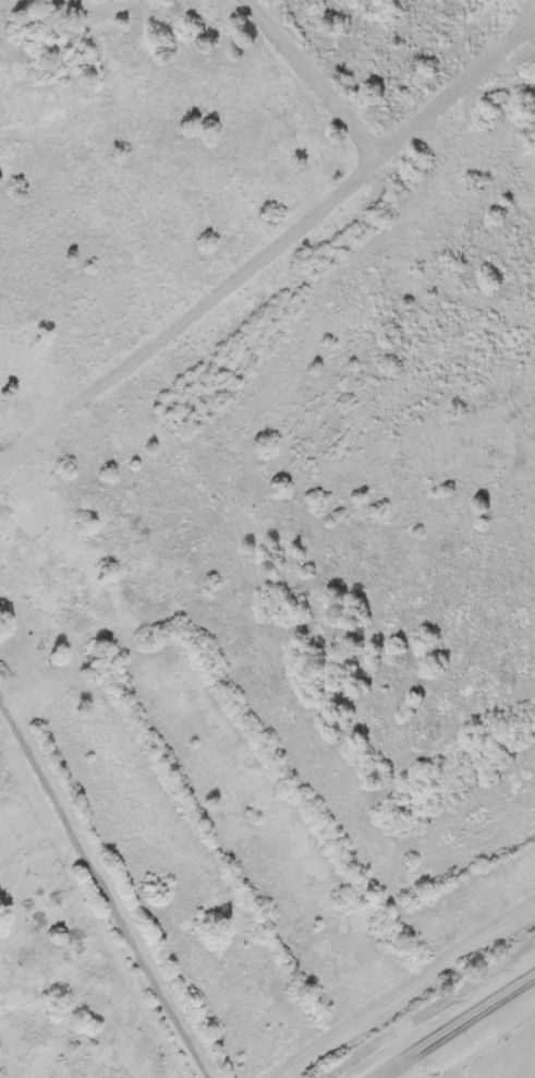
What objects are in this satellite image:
road: (255, 238)
road: (105, 897)
road: (402, 991)
road: (459, 1029)

